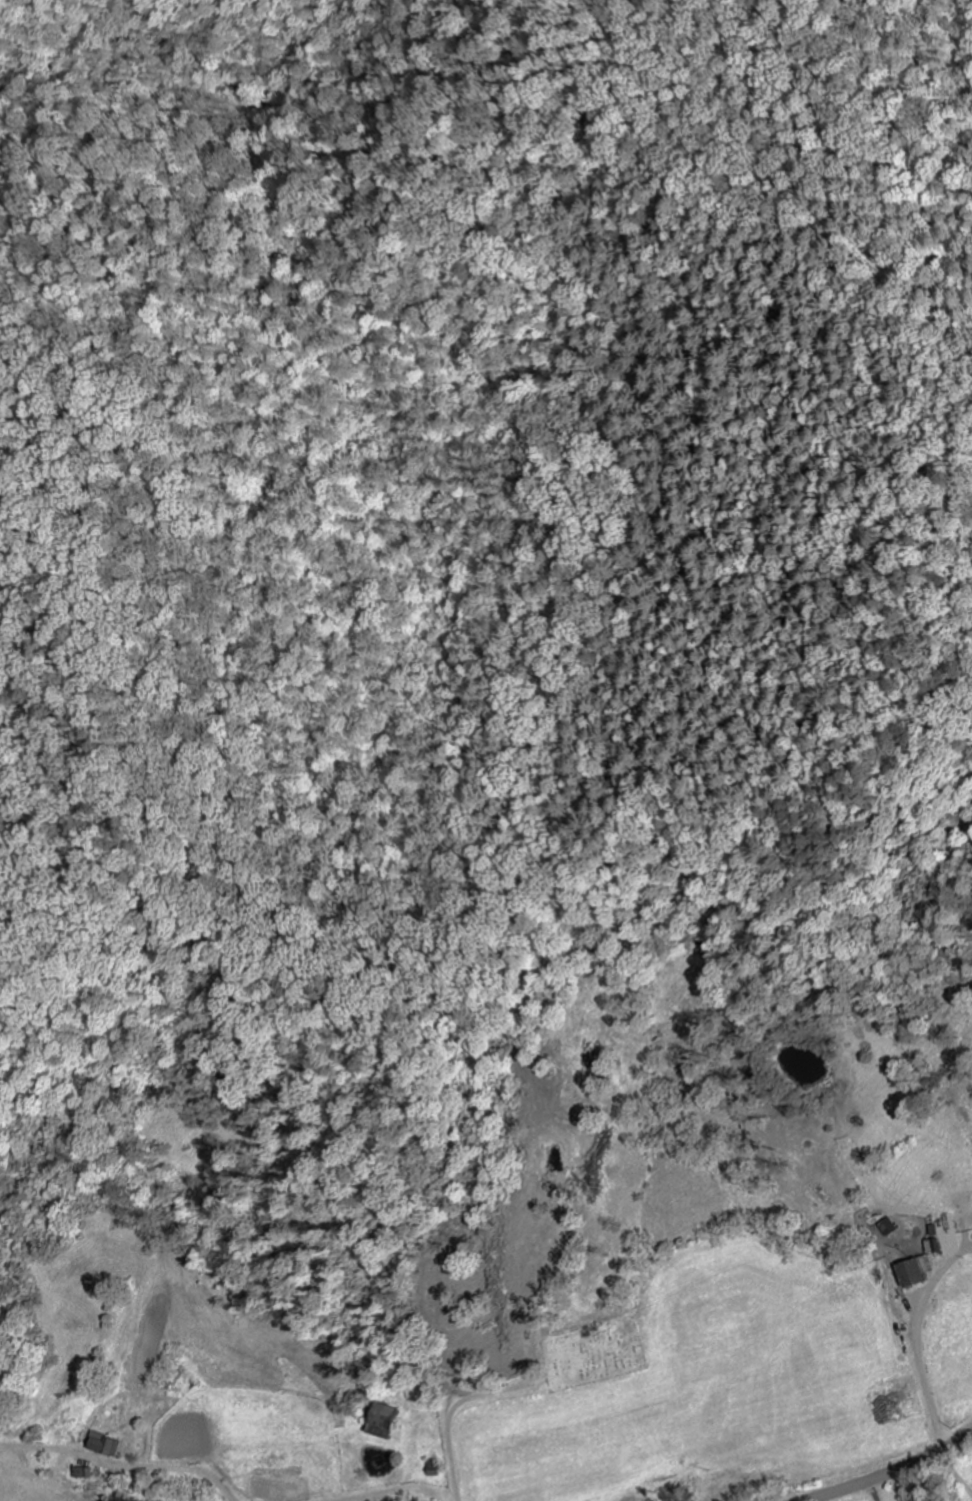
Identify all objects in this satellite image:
building: (944, 1244)
building: (917, 1273)
park: (588, 1354)
road: (446, 1430)
building: (104, 1447)
road: (889, 1472)
road: (950, 1478)

